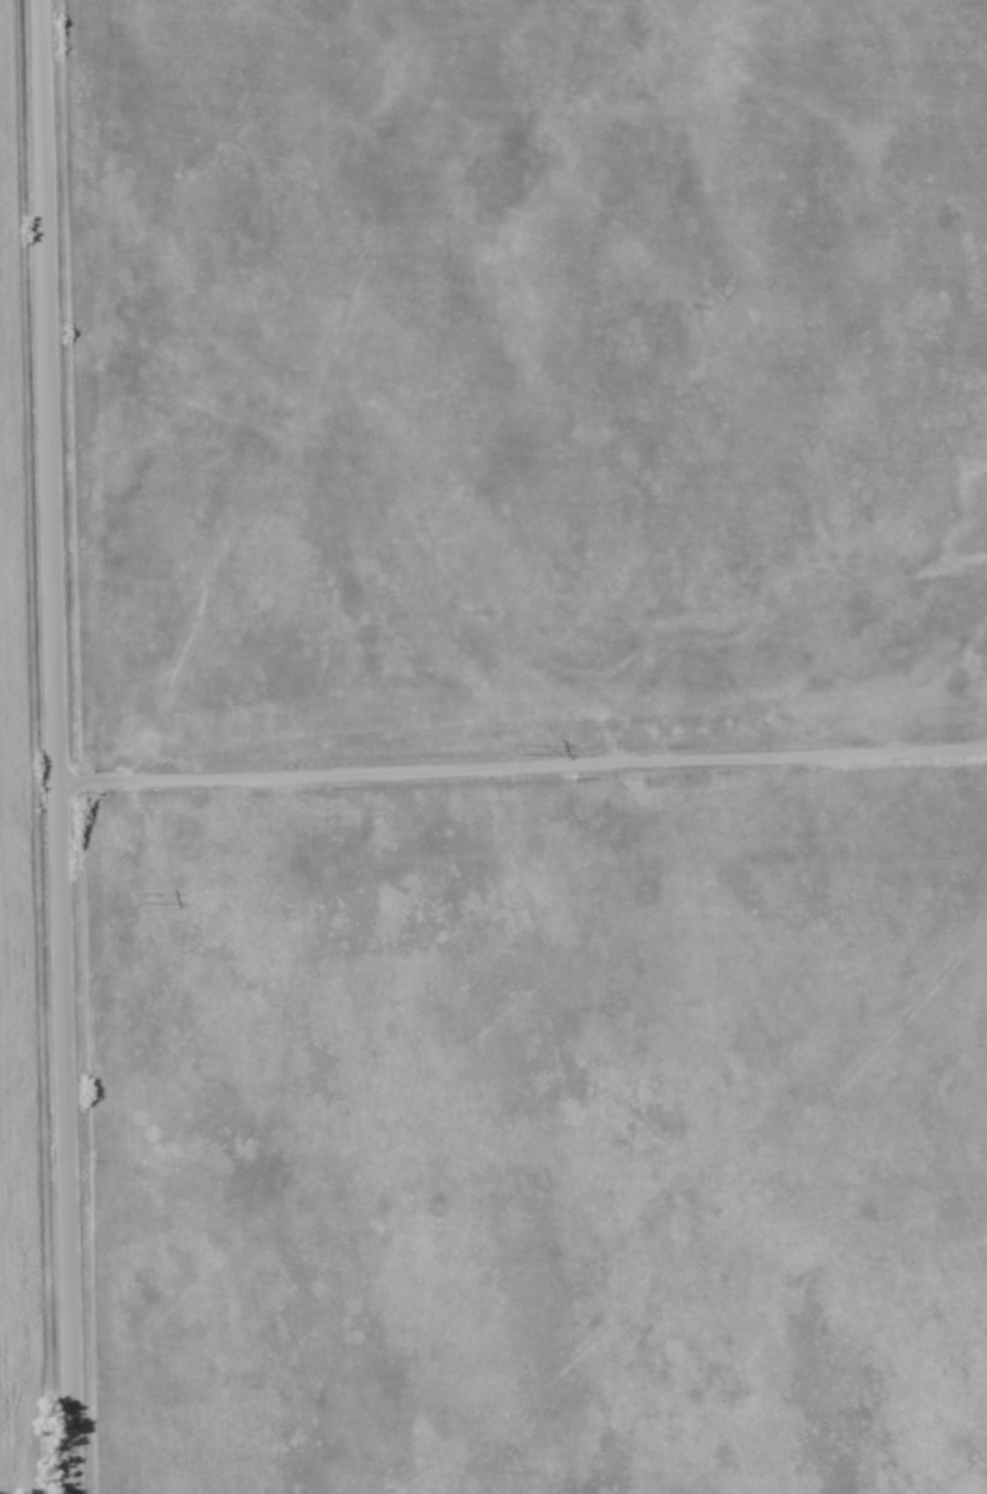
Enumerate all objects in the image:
road: (58, 747)
power tower: (512, 751)
road: (523, 768)
power tower: (135, 900)

